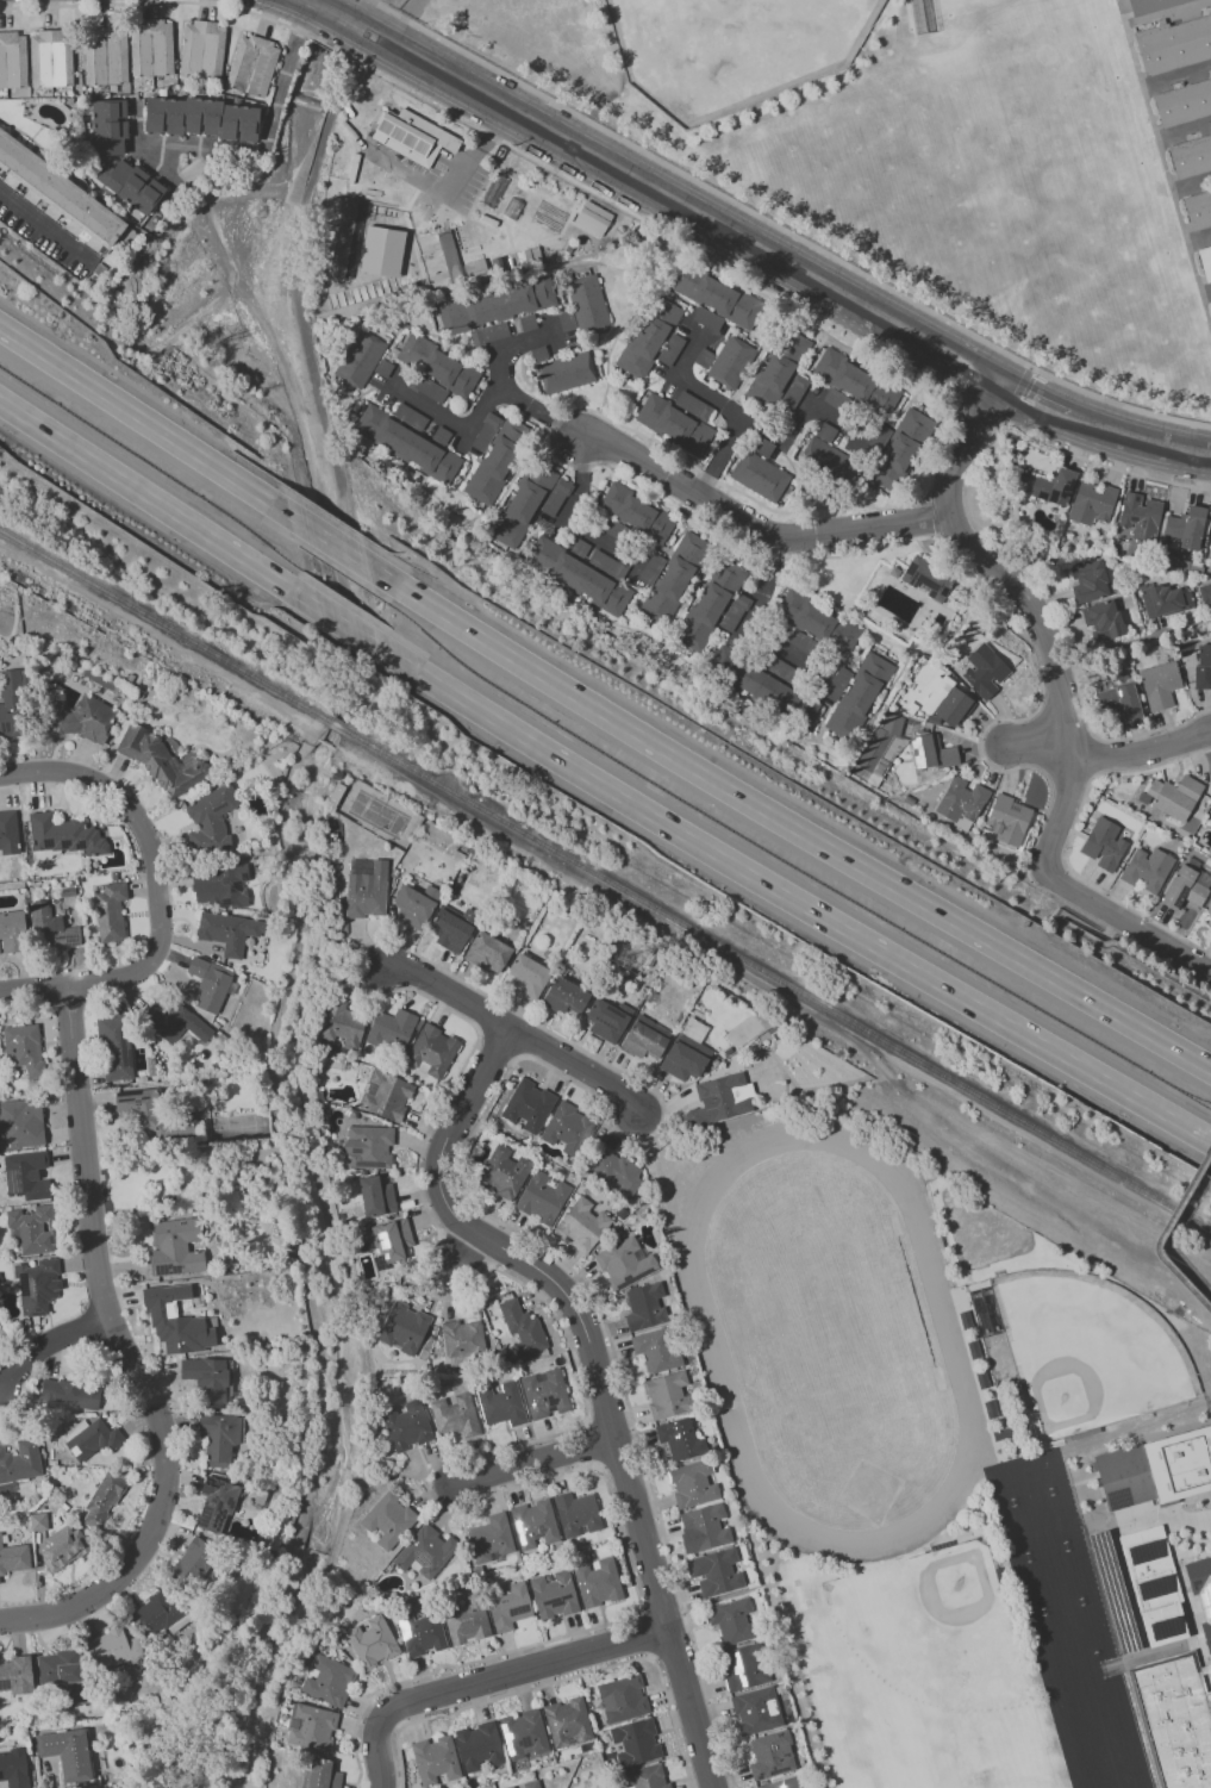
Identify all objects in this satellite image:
road: (158, 0)
road: (317, 5)
building: (1153, 6)
road: (408, 8)
road: (339, 17)
road: (1169, 18)
road: (324, 43)
park: (731, 45)
building: (1174, 45)
building: (152, 48)
building: (204, 50)
building: (107, 57)
building: (52, 58)
building: (13, 61)
building: (254, 66)
park: (995, 73)
road: (1178, 79)
building: (69, 100)
building: (1184, 104)
building: (202, 119)
building: (108, 129)
road: (1185, 133)
building: (412, 136)
road: (264, 137)
building: (344, 142)
road: (148, 151)
building: (499, 152)
building: (1191, 157)
road: (1165, 162)
building: (363, 164)
building: (358, 180)
road: (187, 183)
building: (131, 186)
road: (1192, 188)
building: (492, 192)
building: (58, 194)
building: (379, 197)
building: (557, 199)
road: (673, 204)
building: (1199, 210)
building: (548, 214)
building: (591, 218)
road: (45, 224)
road: (784, 229)
building: (344, 237)
building: (510, 241)
road: (1199, 241)
building: (451, 261)
building: (1206, 262)
building: (500, 266)
building: (99, 269)
building: (477, 272)
building: (714, 294)
road: (1206, 295)
building: (1210, 298)
building: (588, 303)
building: (369, 306)
building: (497, 306)
building: (709, 319)
building: (567, 322)
building: (529, 323)
building: (489, 334)
building: (649, 338)
building: (672, 350)
building: (539, 355)
building: (705, 359)
building: (361, 360)
building: (731, 362)
building: (439, 365)
building: (385, 368)
building: (778, 370)
building: (567, 373)
building: (857, 382)
building: (426, 387)
road: (692, 388)
building: (794, 393)
road: (1016, 395)
road: (1031, 401)
building: (841, 403)
building: (694, 406)
road: (485, 407)
road: (587, 410)
road: (537, 413)
road: (975, 413)
building: (411, 417)
road: (151, 425)
building: (675, 425)
road: (769, 431)
building: (487, 432)
building: (442, 436)
building: (879, 440)
road: (1137, 442)
building: (410, 444)
building: (762, 447)
building: (903, 449)
building: (828, 457)
building: (499, 461)
building: (761, 476)
building: (1054, 487)
building: (557, 497)
building: (523, 504)
building: (1093, 504)
road: (160, 506)
road: (573, 506)
building: (637, 513)
road: (929, 517)
building: (1141, 517)
road: (754, 524)
building: (1186, 529)
building: (619, 531)
road: (985, 541)
road: (335, 544)
building: (1205, 544)
building: (580, 548)
building: (1055, 553)
building: (610, 565)
building: (1180, 566)
building: (653, 569)
building: (579, 575)
building: (676, 578)
building: (929, 578)
building: (1092, 581)
building: (1205, 593)
building: (1165, 600)
building: (1140, 604)
building: (711, 605)
building: (867, 608)
building: (1141, 609)
building: (736, 611)
building: (1104, 621)
road: (744, 623)
building: (818, 623)
railway: (166, 625)
road: (352, 630)
road: (163, 641)
building: (805, 643)
building: (1167, 654)
building: (1203, 667)
building: (782, 669)
building: (984, 671)
building: (838, 685)
building: (1160, 685)
building: (763, 686)
building: (860, 697)
building: (1121, 700)
building: (12, 703)
building: (953, 705)
road: (1063, 705)
building: (76, 716)
railway: (336, 724)
road: (1038, 739)
road: (1038, 741)
building: (936, 753)
road: (1142, 753)
road: (1094, 755)
building: (161, 760)
building: (853, 779)
building: (928, 779)
building: (1173, 799)
building: (909, 800)
building: (962, 803)
building: (210, 820)
building: (1009, 821)
building: (1206, 821)
road: (785, 826)
building: (8, 833)
building: (63, 834)
building: (1104, 845)
road: (1063, 846)
building: (1148, 870)
building: (219, 885)
building: (366, 887)
building: (1184, 890)
road: (158, 891)
road: (795, 903)
building: (411, 908)
building: (1209, 910)
building: (108, 911)
building: (50, 928)
building: (227, 930)
building: (450, 930)
building: (11, 932)
building: (1210, 934)
road: (1104, 936)
road: (1112, 941)
building: (487, 952)
power tower: (631, 960)
building: (528, 974)
railway: (775, 978)
building: (208, 983)
road: (772, 989)
building: (564, 996)
building: (607, 1020)
building: (177, 1023)
building: (341, 1023)
building: (391, 1030)
road: (520, 1034)
building: (644, 1038)
building: (114, 1047)
building: (23, 1048)
building: (431, 1051)
building: (686, 1051)
building: (385, 1095)
building: (720, 1099)
building: (528, 1105)
building: (151, 1115)
building: (20, 1124)
building: (568, 1128)
building: (367, 1146)
building: (502, 1171)
building: (616, 1171)
building: (26, 1175)
park: (200, 1178)
building: (375, 1196)
building: (542, 1197)
building: (581, 1225)
building: (32, 1229)
road: (1162, 1233)
building: (175, 1246)
road: (460, 1253)
building: (624, 1263)
building: (37, 1287)
building: (644, 1307)
building: (966, 1319)
building: (176, 1321)
road: (1200, 1327)
building: (402, 1328)
building: (520, 1328)
park: (828, 1333)
building: (462, 1338)
track: (711, 1341)
road: (48, 1346)
building: (656, 1348)
building: (974, 1348)
park: (1087, 1350)
road: (127, 1356)
road: (594, 1372)
building: (982, 1378)
building: (208, 1379)
building: (544, 1393)
building: (69, 1394)
building: (667, 1395)
building: (501, 1404)
building: (991, 1408)
building: (455, 1415)
building: (406, 1425)
building: (1001, 1432)
building: (219, 1437)
building: (89, 1438)
building: (680, 1439)
building: (20, 1460)
road: (530, 1460)
building: (1156, 1466)
park: (1045, 1477)
building: (693, 1483)
building: (6, 1487)
park: (1007, 1488)
building: (102, 1500)
building: (216, 1504)
building: (576, 1513)
park: (1056, 1518)
building: (388, 1519)
building: (533, 1525)
building: (703, 1528)
park: (1019, 1528)
building: (491, 1538)
building: (62, 1547)
building: (425, 1551)
building: (14, 1558)
building: (194, 1560)
building: (716, 1572)
park: (1072, 1574)
building: (597, 1582)
building: (1155, 1583)
park: (1034, 1584)
building: (1201, 1589)
building: (1113, 1591)
building: (553, 1594)
building: (508, 1607)
building: (157, 1613)
building: (731, 1620)
building: (467, 1621)
park: (934, 1626)
park: (1087, 1627)
building: (420, 1632)
park: (1049, 1638)
building: (372, 1641)
building: (112, 1649)
building: (743, 1666)
building: (58, 1668)
building: (15, 1675)
road: (486, 1677)
building: (327, 1681)
park: (1104, 1690)
building: (622, 1699)
park: (1109, 1707)
building: (756, 1711)
park: (1073, 1717)
building: (1175, 1718)
building: (567, 1720)
park: (1115, 1726)
building: (310, 1727)
building: (523, 1734)
park: (1079, 1737)
building: (636, 1740)
building: (479, 1745)
park: (1121, 1746)
building: (67, 1752)
building: (770, 1755)
park: (1085, 1756)
building: (435, 1759)
park: (1126, 1767)
building: (13, 1768)
building: (320, 1775)
park: (1091, 1775)
building: (645, 1777)
park: (1132, 1782)
building: (531, 1783)
building: (782, 1783)
park: (1104, 1786)
building: (508, 1787)

